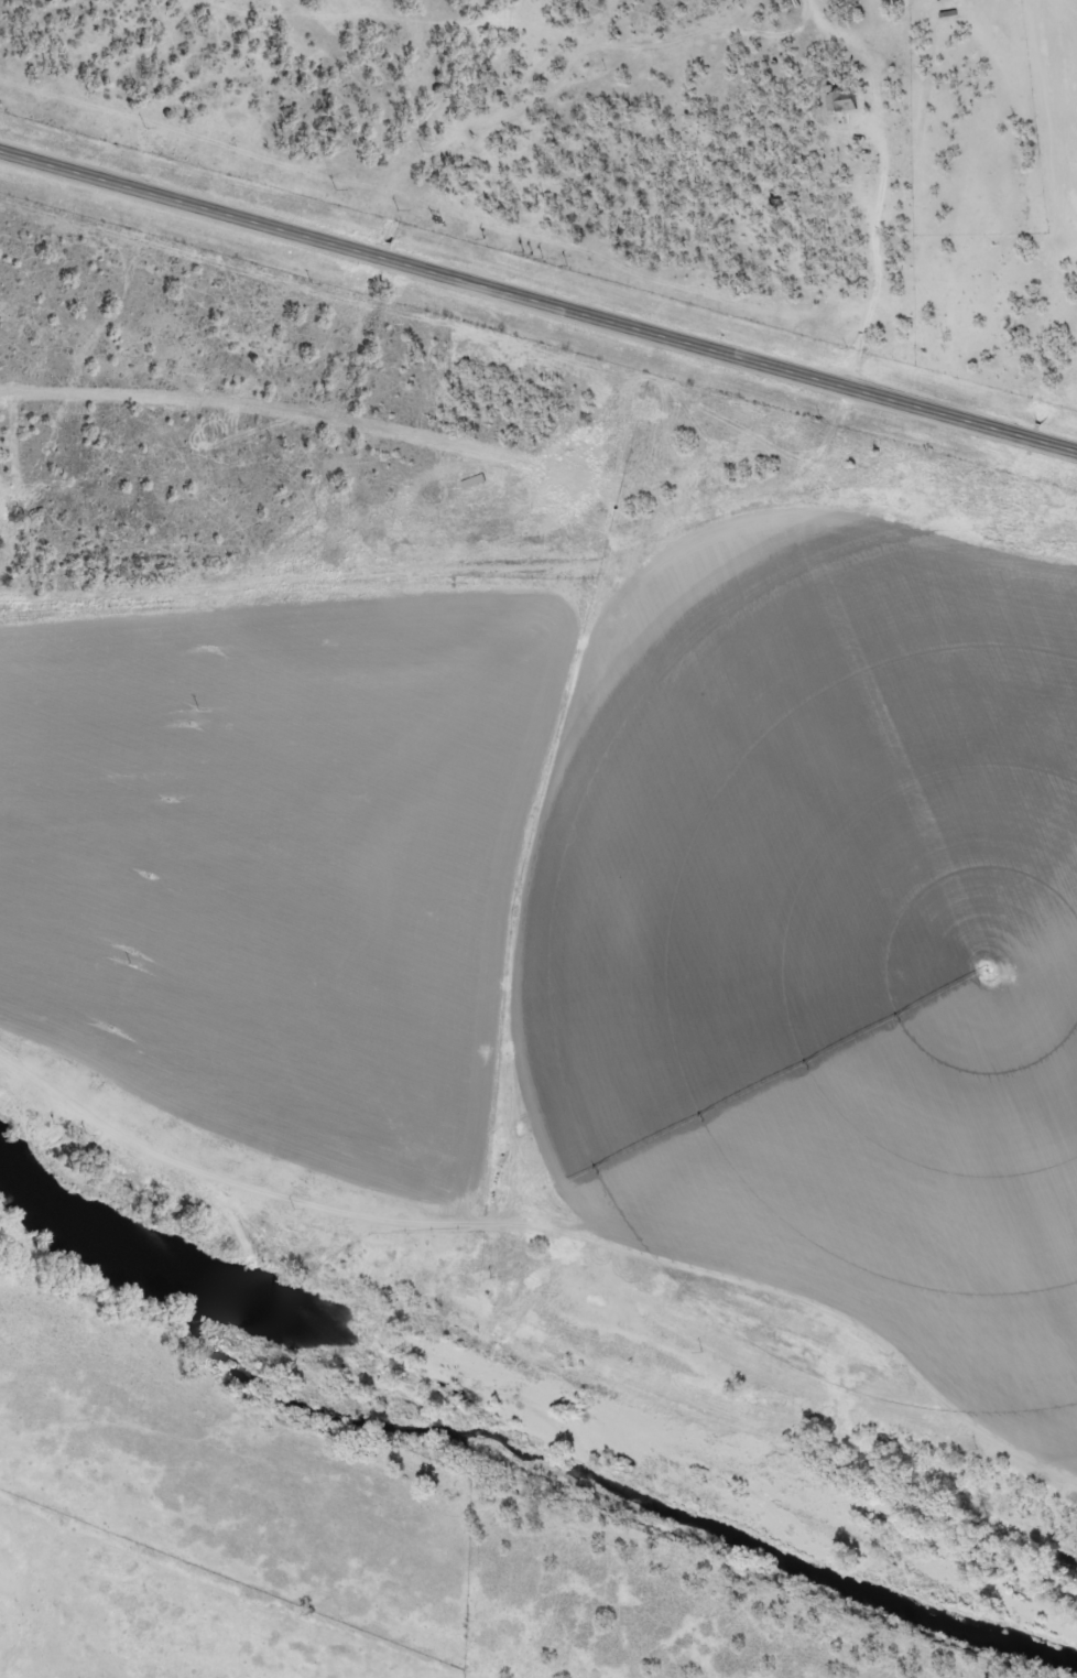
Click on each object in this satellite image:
building: (839, 101)
road: (301, 118)
road: (537, 299)
building: (472, 479)
road: (544, 1215)
river: (530, 1428)

